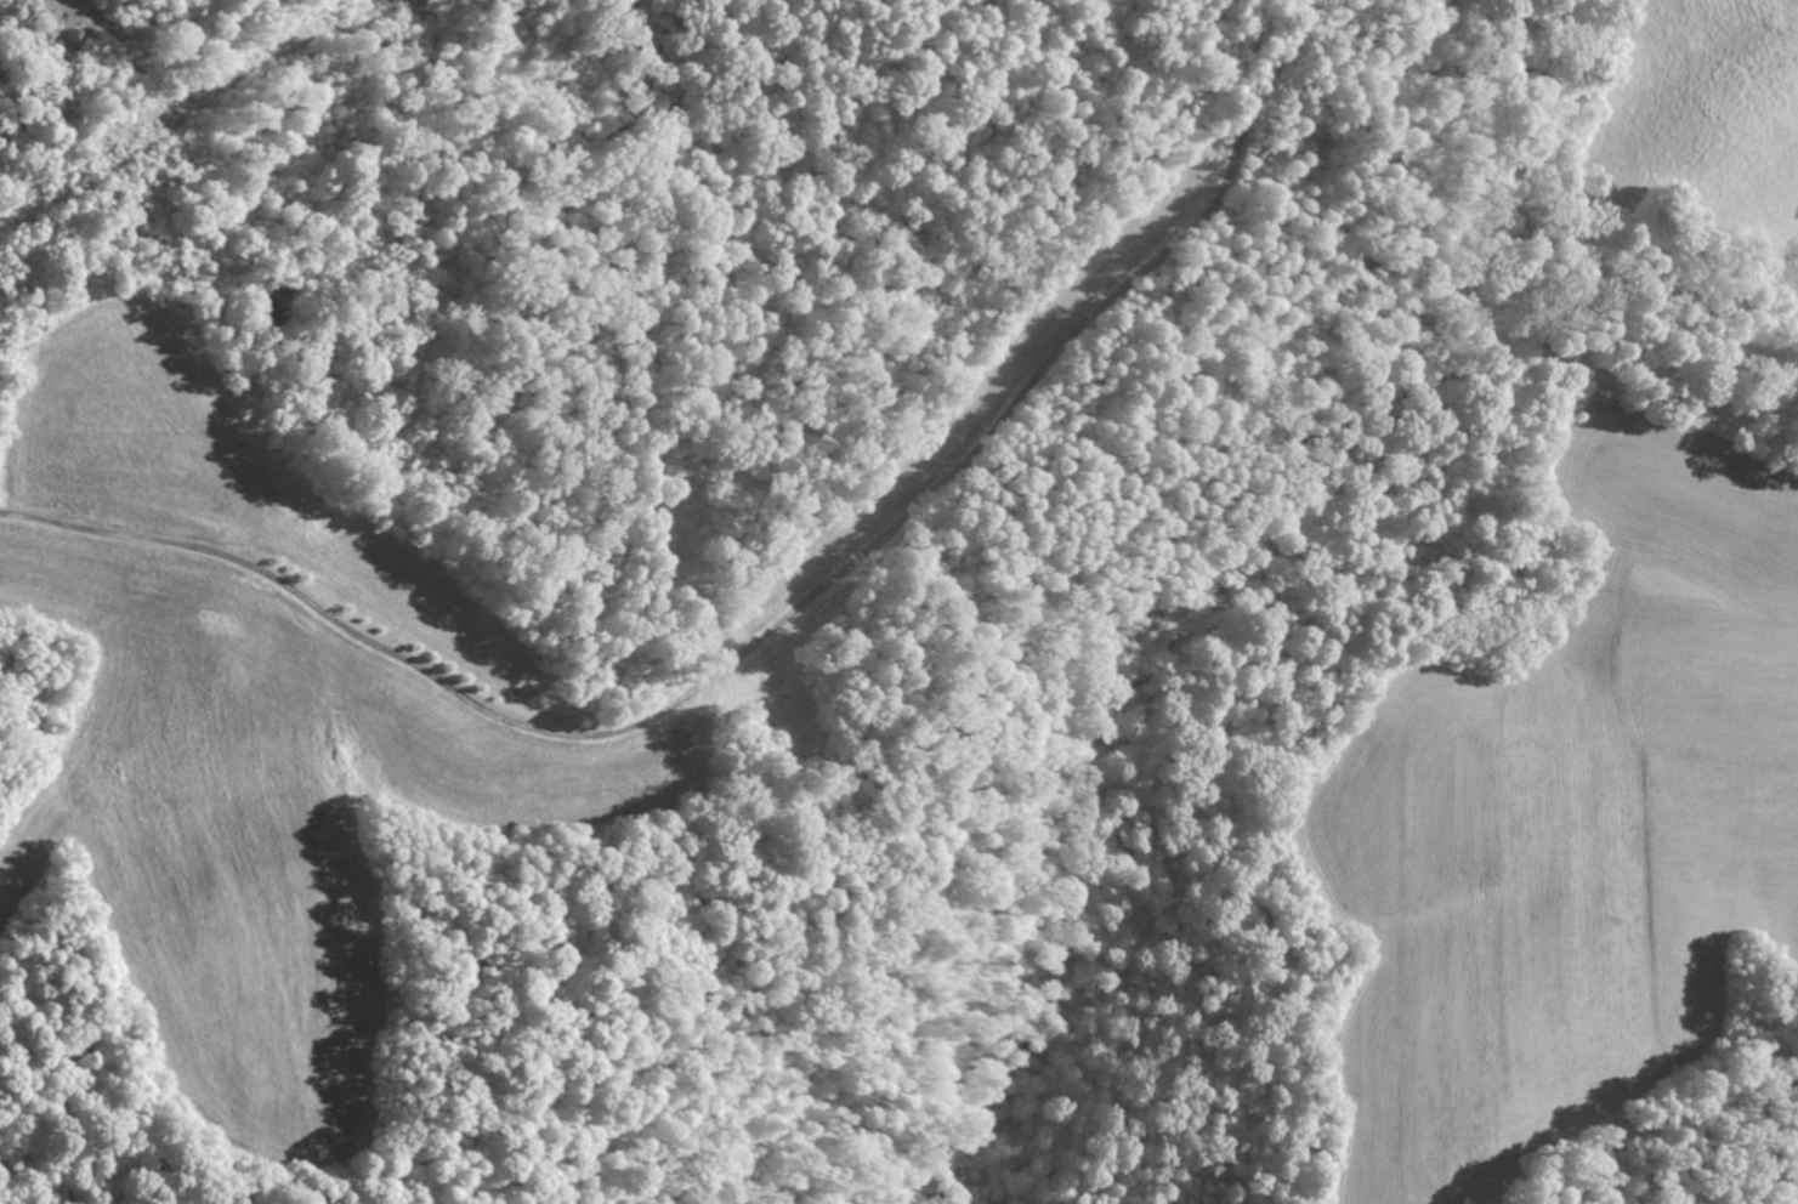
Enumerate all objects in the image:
road: (762, 627)

